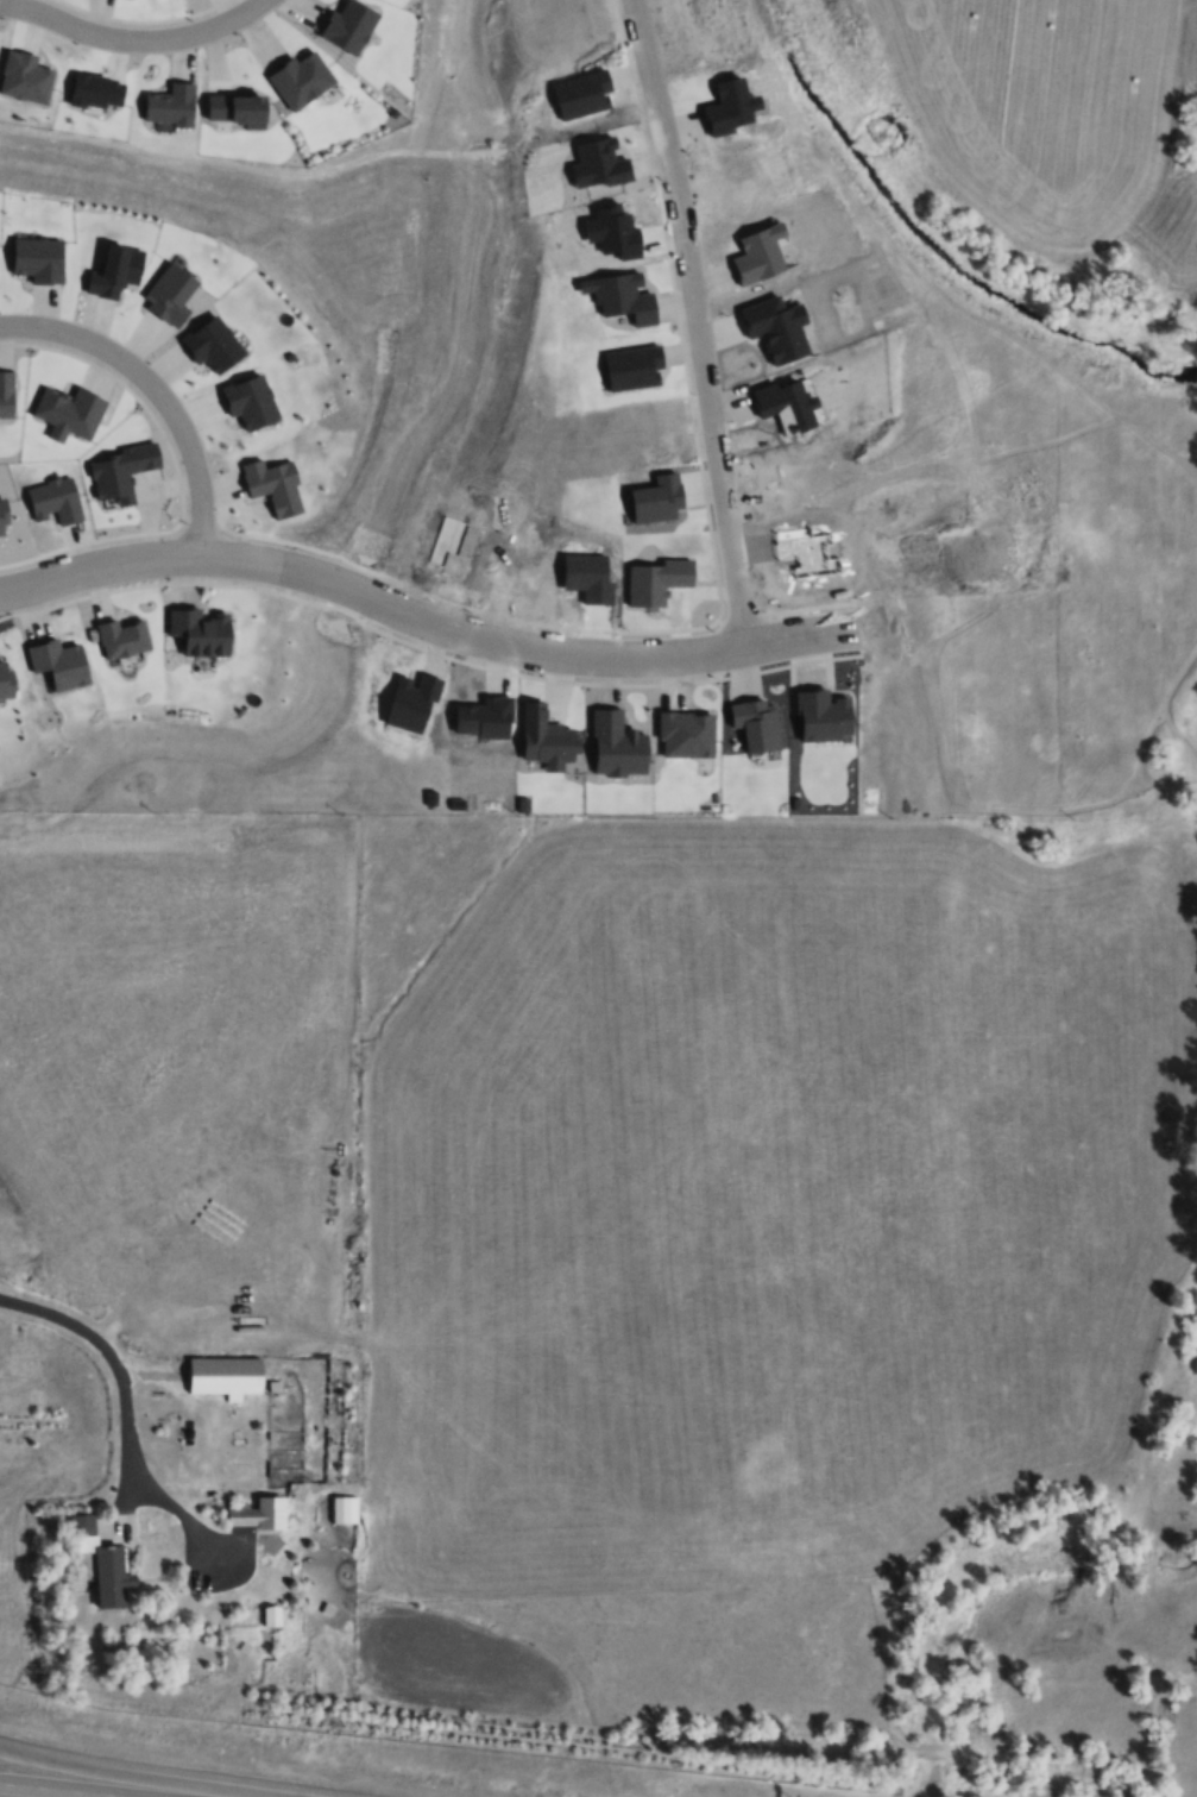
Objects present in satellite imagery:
road: (120, 26)
road: (683, 320)
road: (156, 396)
road: (422, 621)
building: (226, 1376)
road: (120, 1386)
road: (125, 1482)
building: (344, 1510)
building: (258, 1514)
building: (97, 1563)
road: (234, 1581)
building: (272, 1616)
road: (149, 1774)
road: (63, 1789)

